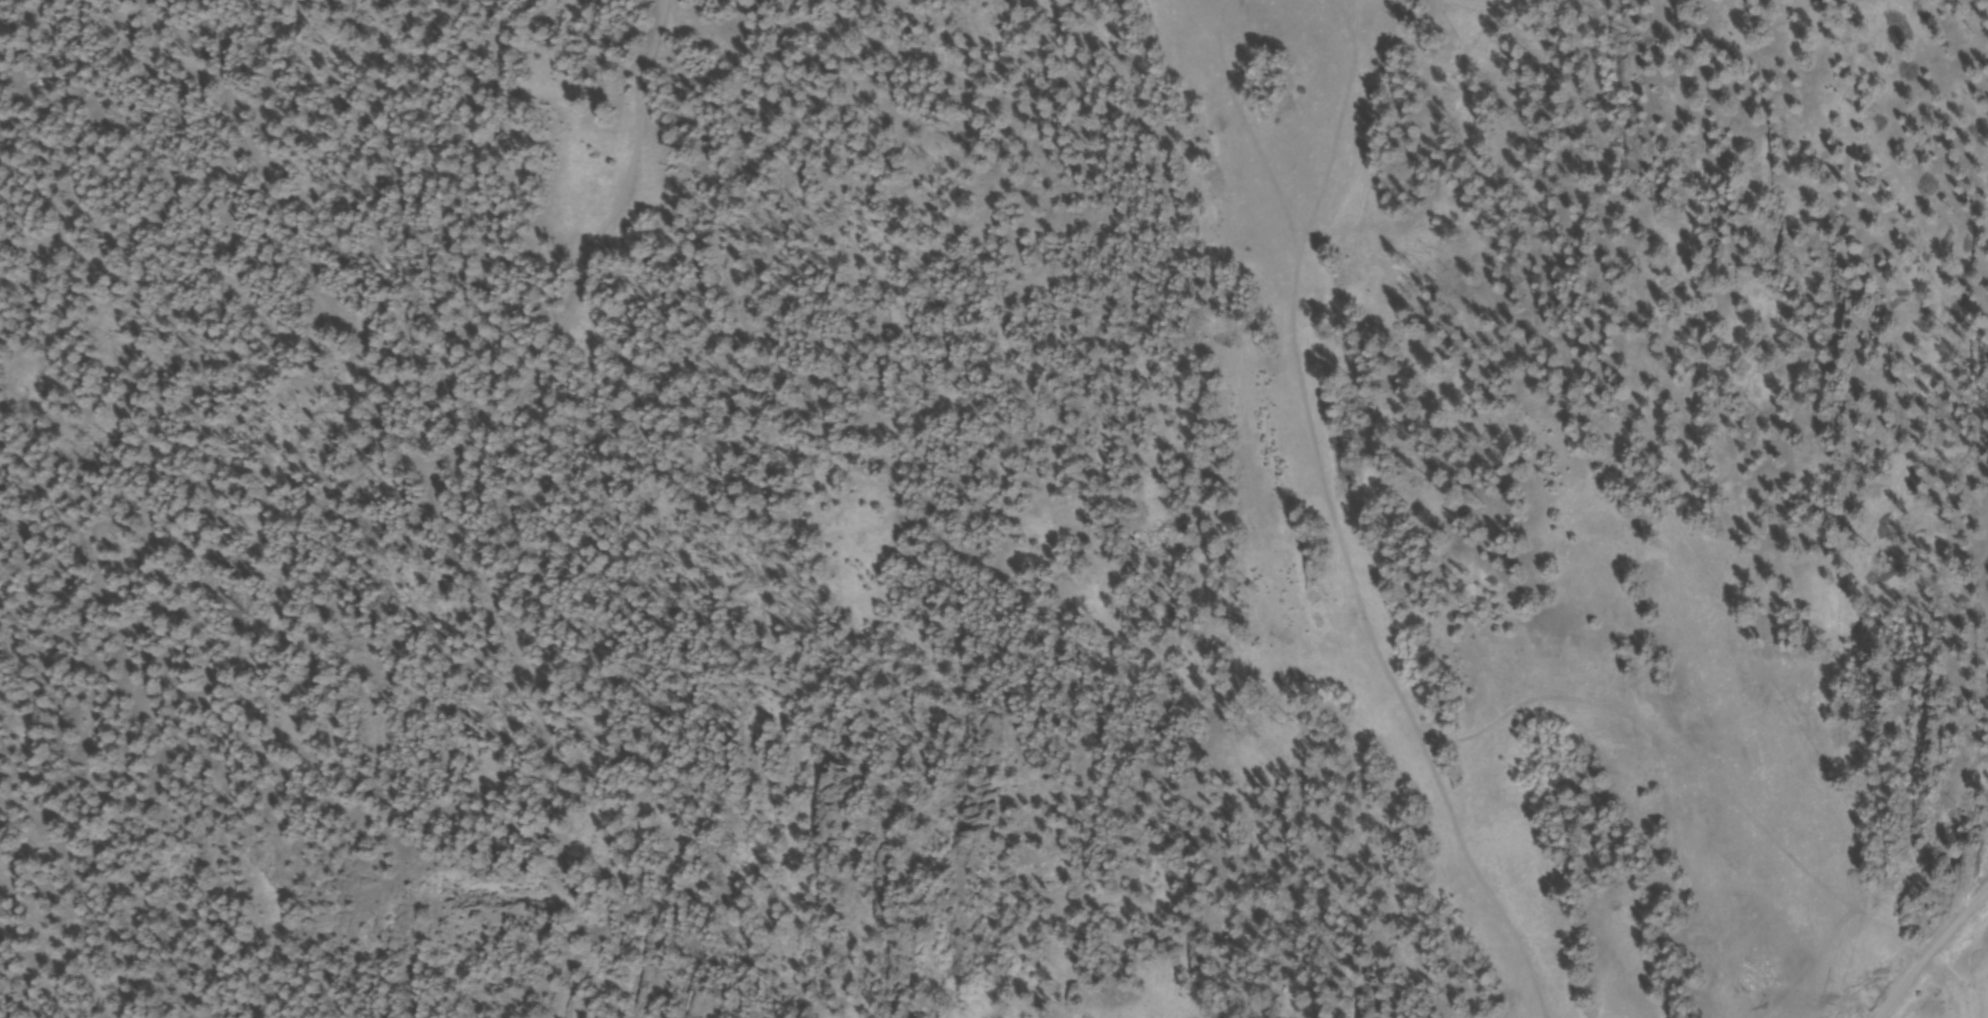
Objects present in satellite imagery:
road: (640, 97)
road: (1938, 957)

